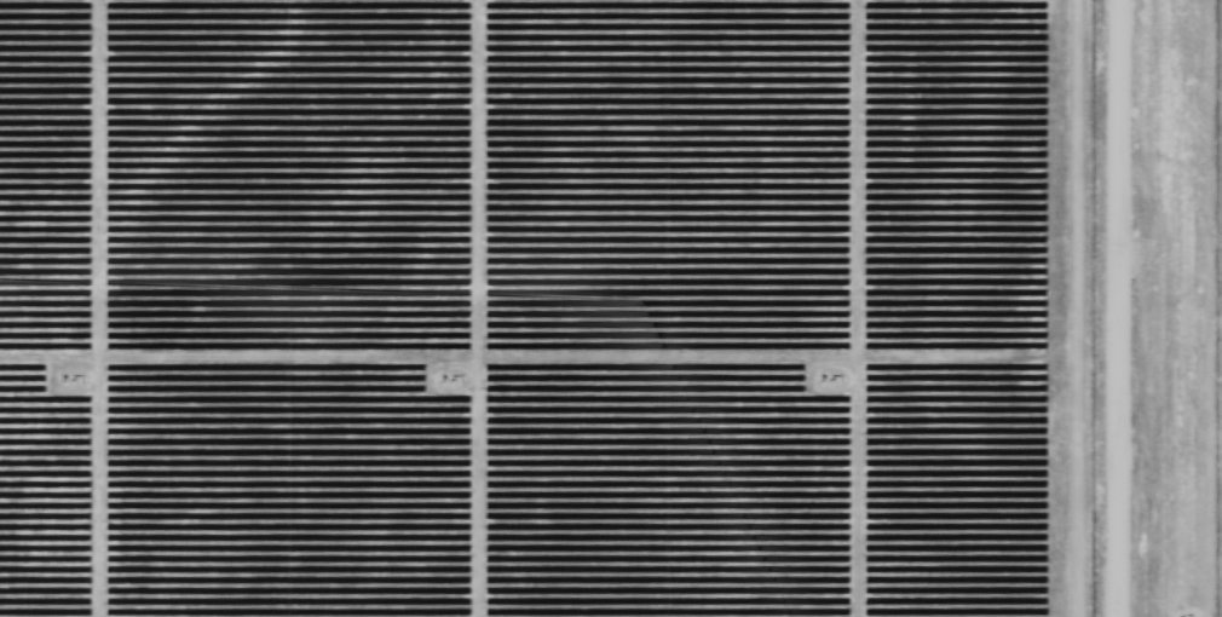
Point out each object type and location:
solar farm: (611, 308)
road: (1143, 308)

